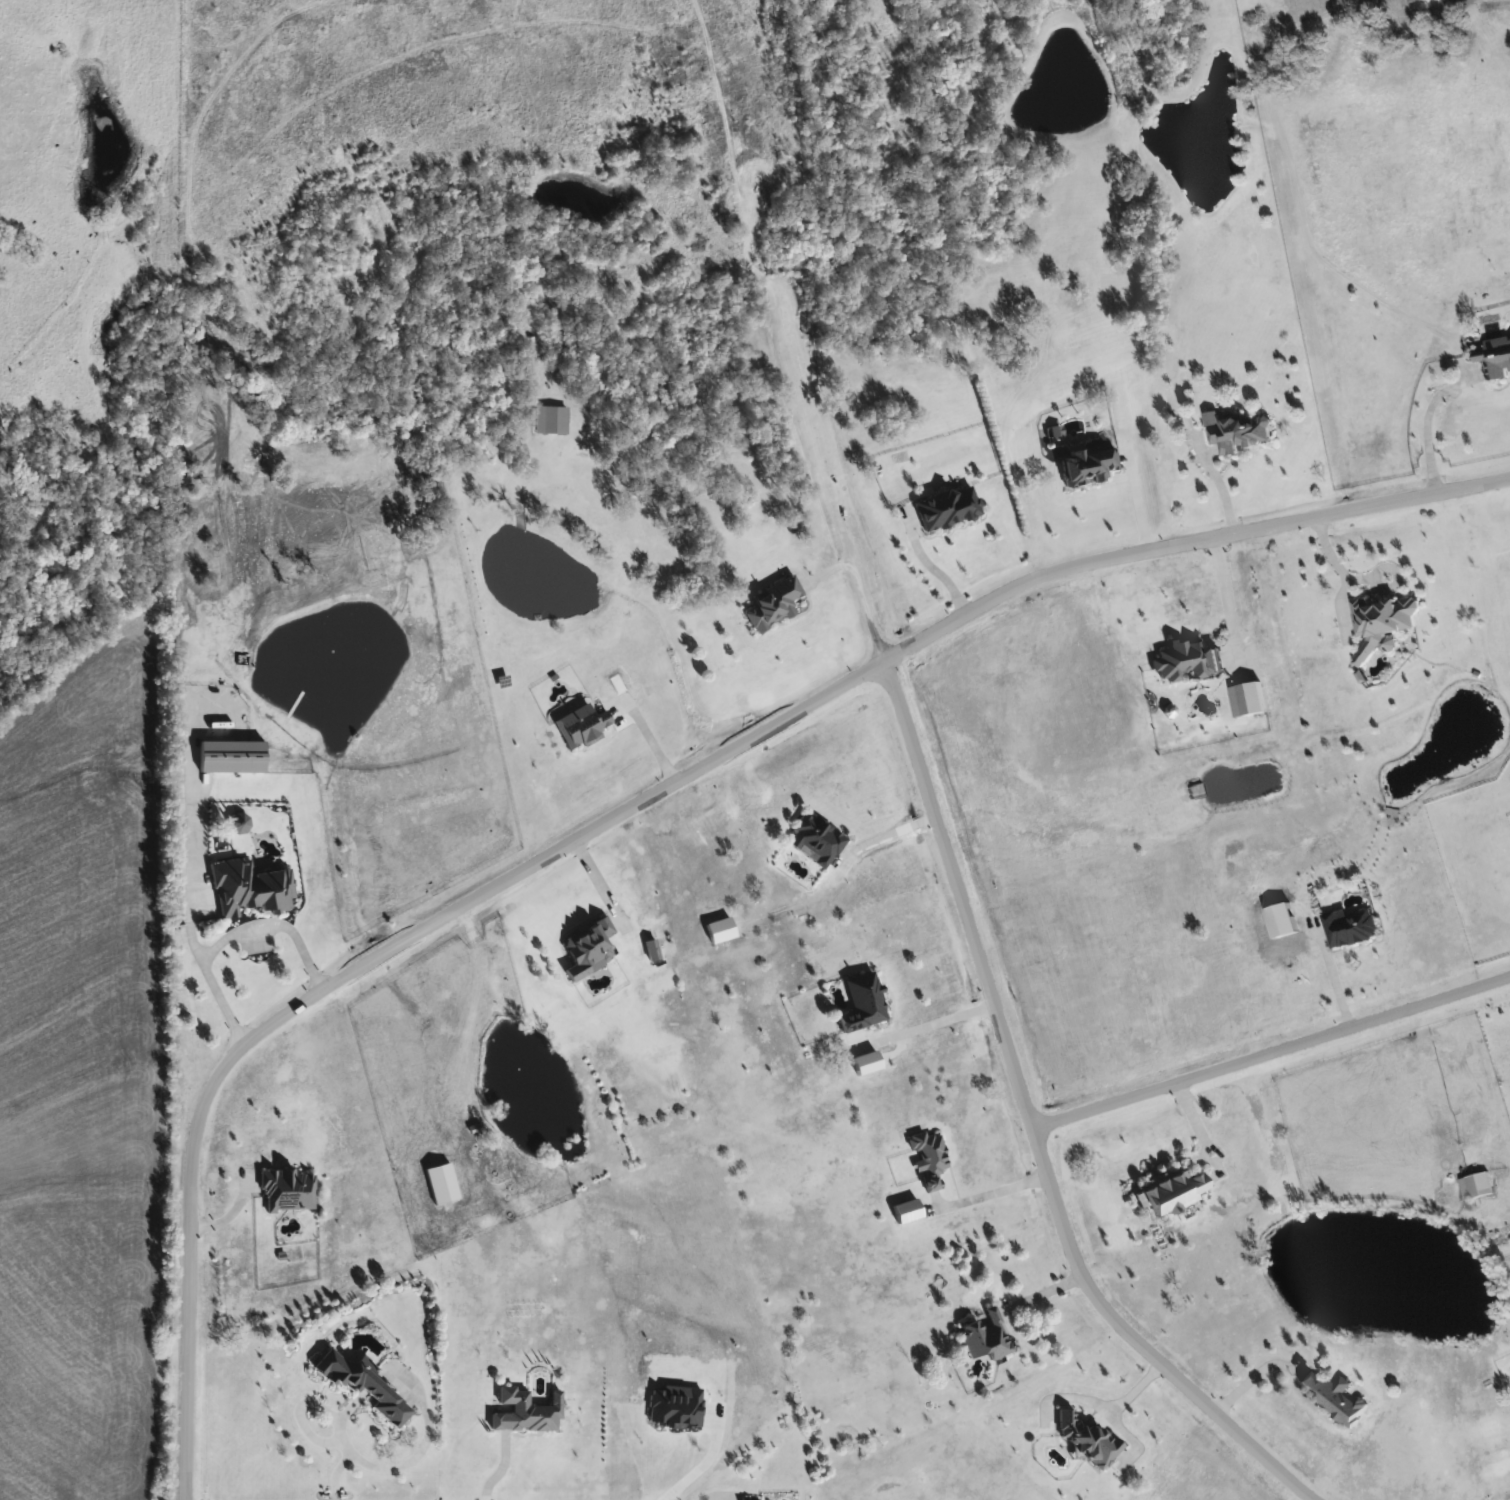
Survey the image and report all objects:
building: (1411, 0)
building: (1495, 356)
building: (550, 419)
road: (1427, 419)
building: (1238, 432)
road: (1224, 488)
building: (947, 507)
road: (830, 568)
road: (936, 569)
road: (1222, 598)
building: (773, 603)
road: (864, 605)
building: (1381, 623)
building: (1188, 659)
building: (580, 725)
building: (230, 756)
road: (929, 805)
road: (883, 835)
building: (816, 838)
road: (591, 878)
building: (249, 887)
building: (1349, 928)
road: (232, 934)
building: (588, 943)
building: (651, 949)
road: (355, 961)
road: (1332, 981)
building: (862, 1002)
road: (934, 1018)
road: (1270, 1050)
crop: (88, 1071)
road: (1196, 1126)
building: (927, 1157)
building: (1475, 1185)
building: (287, 1189)
road: (983, 1190)
building: (1168, 1191)
building: (906, 1210)
building: (985, 1334)
road: (1244, 1374)
building: (357, 1380)
building: (1332, 1395)
road: (1093, 1401)
building: (524, 1410)
building: (1087, 1439)
road: (335, 1457)
road: (707, 1461)
road: (501, 1468)

